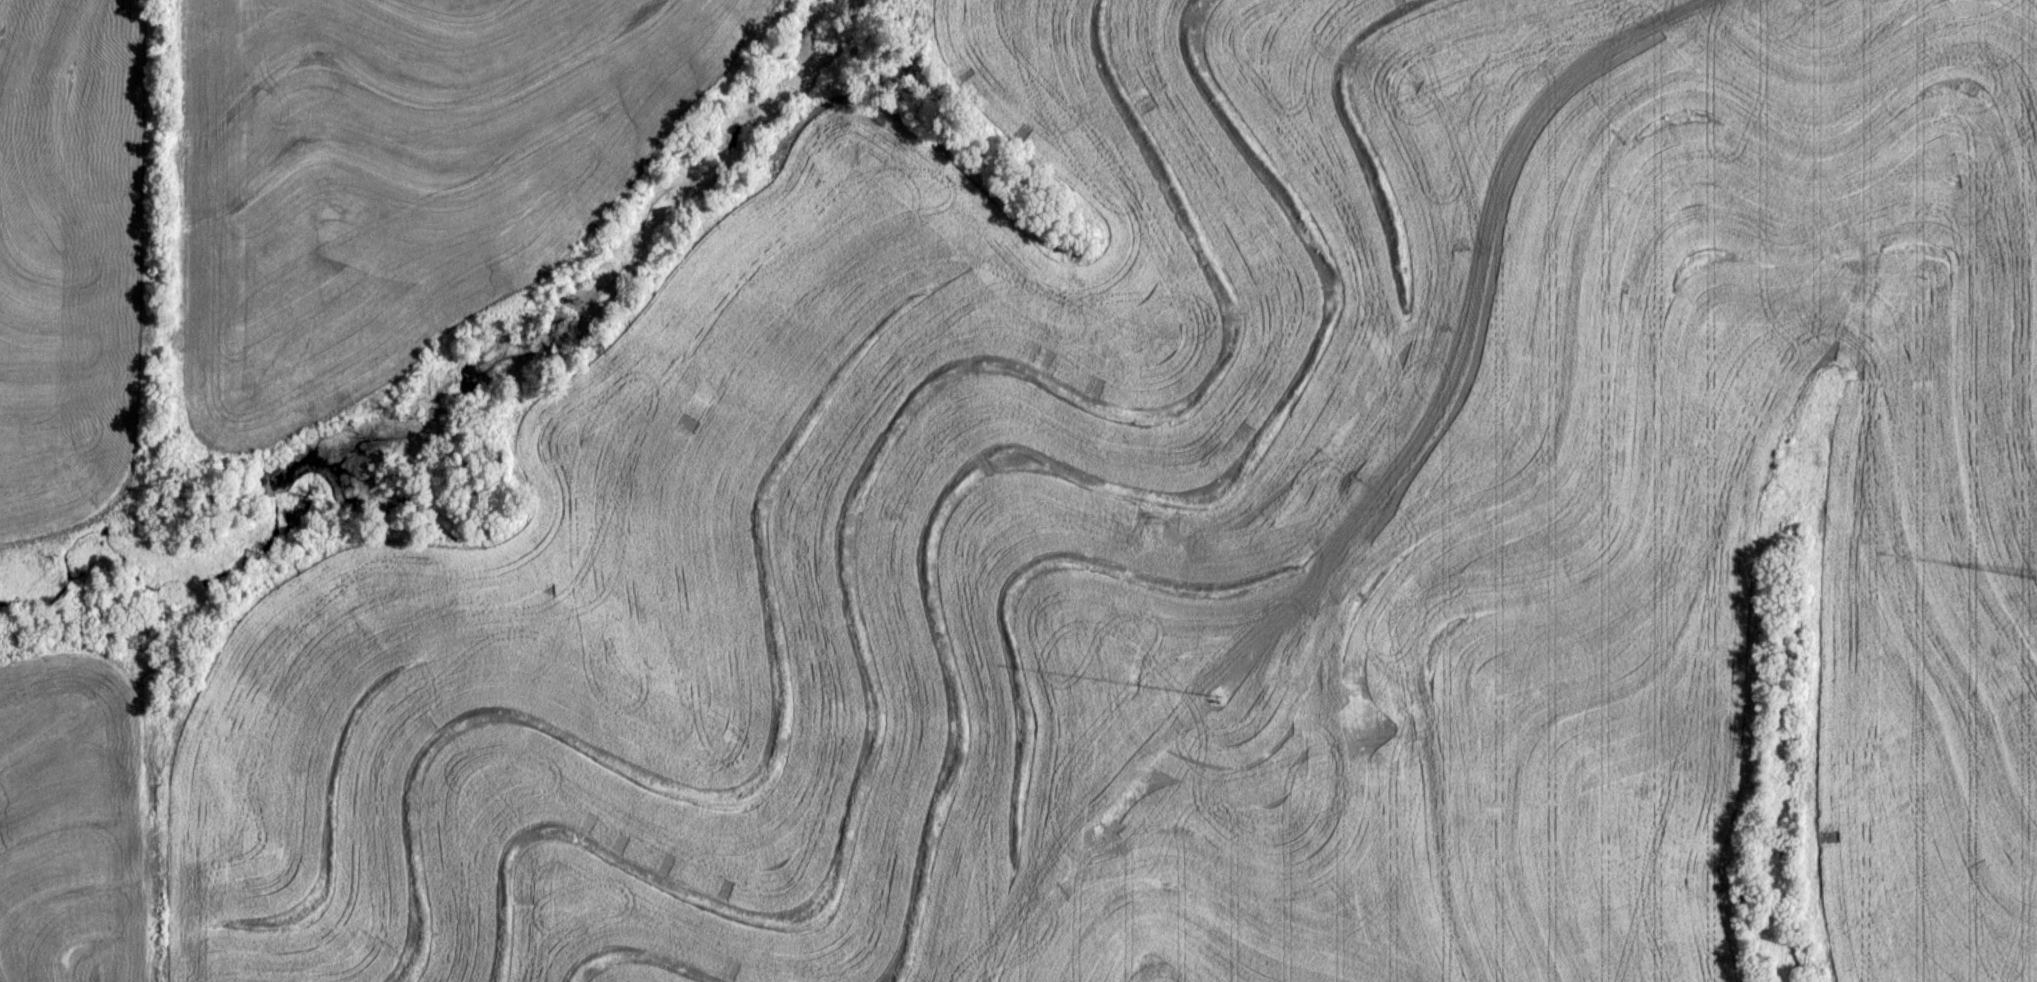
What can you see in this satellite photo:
wind turbine: (1208, 692)

